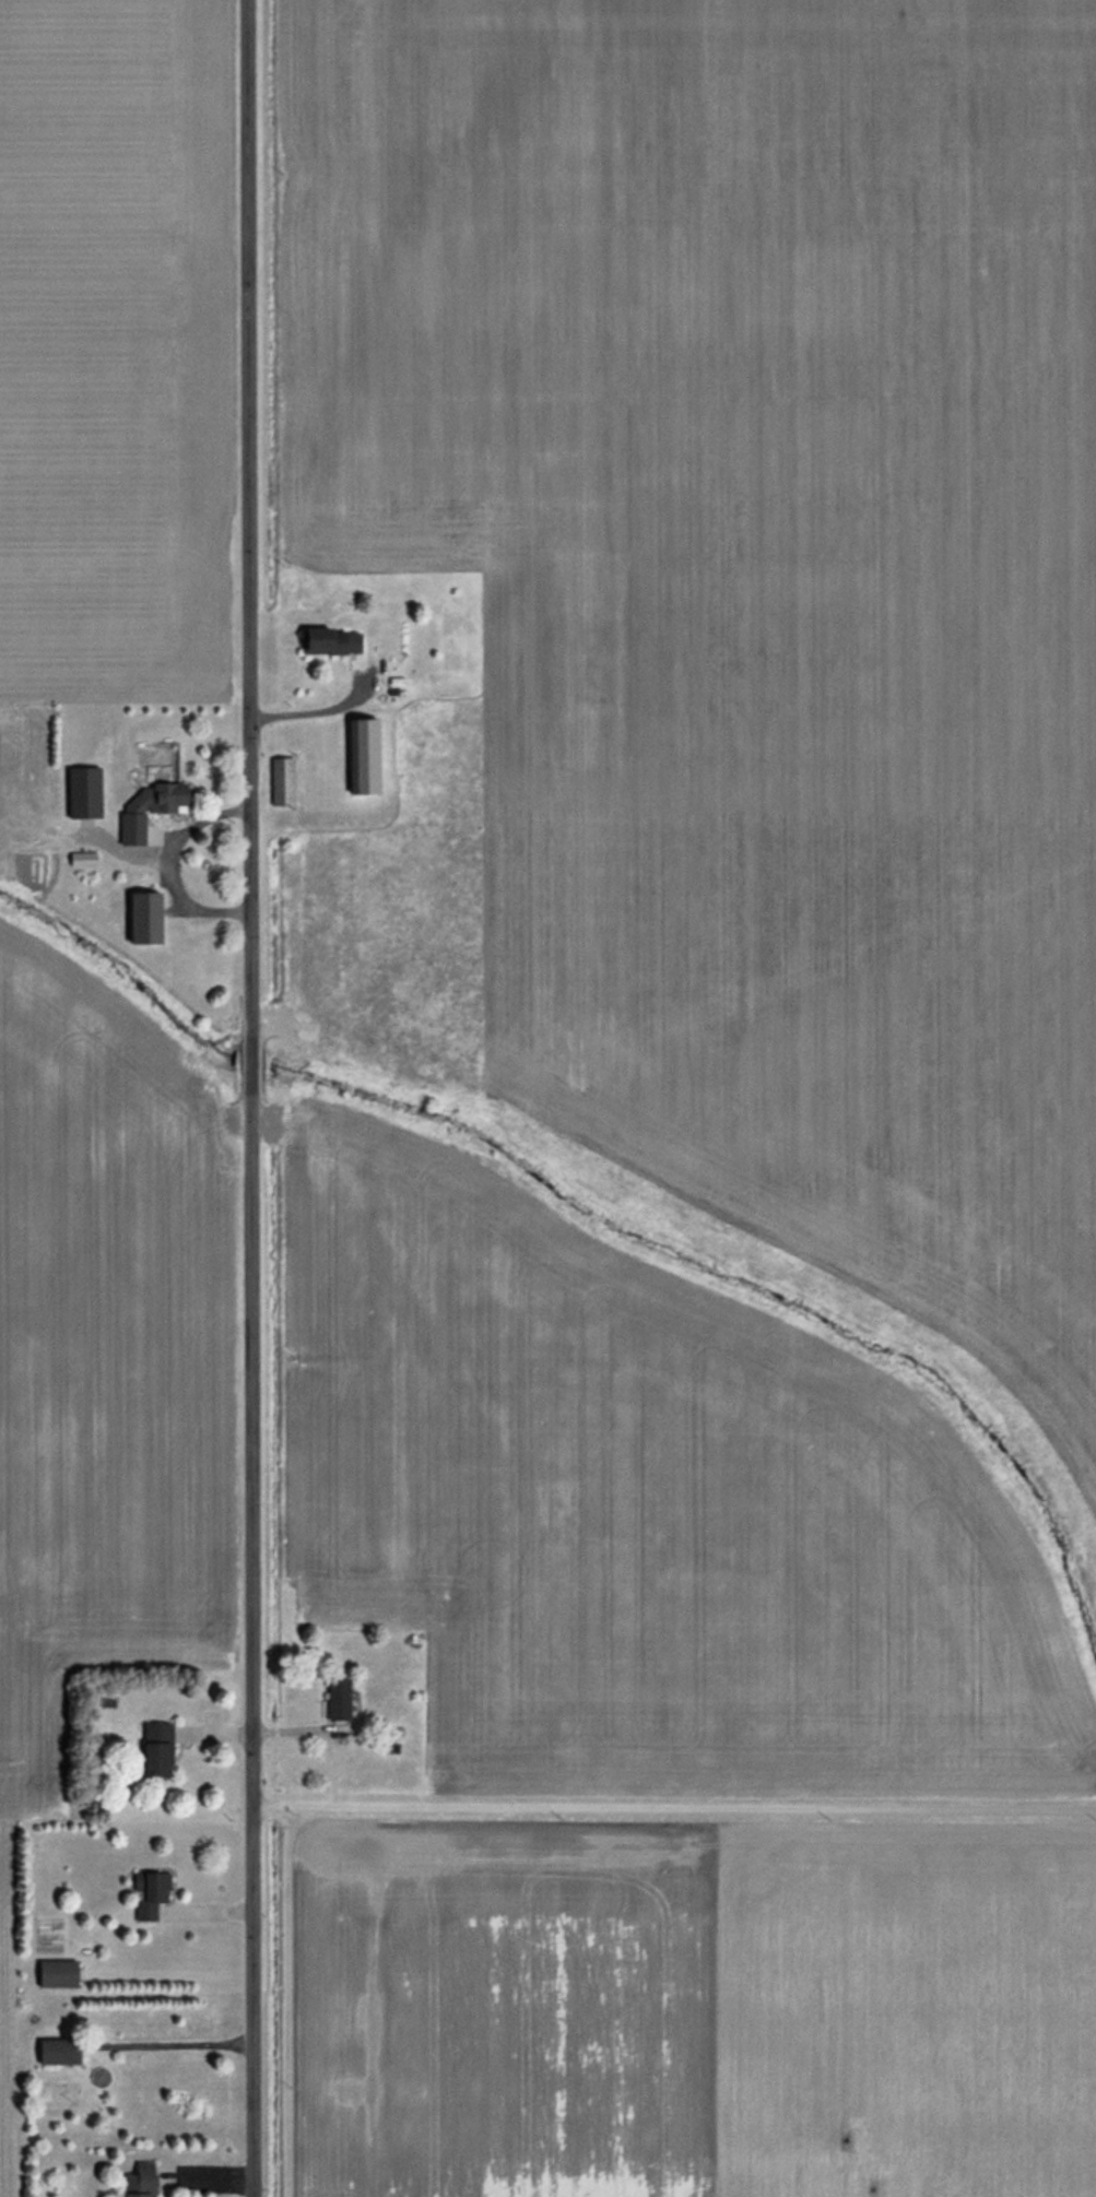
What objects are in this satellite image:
building: (327, 640)
building: (361, 754)
building: (280, 780)
building: (82, 791)
building: (156, 796)
building: (140, 836)
building: (141, 917)
road: (251, 1098)
building: (334, 1698)
building: (153, 1748)
road: (674, 1808)
building: (148, 1894)
building: (55, 1974)
building: (54, 2052)
building: (137, 2181)

